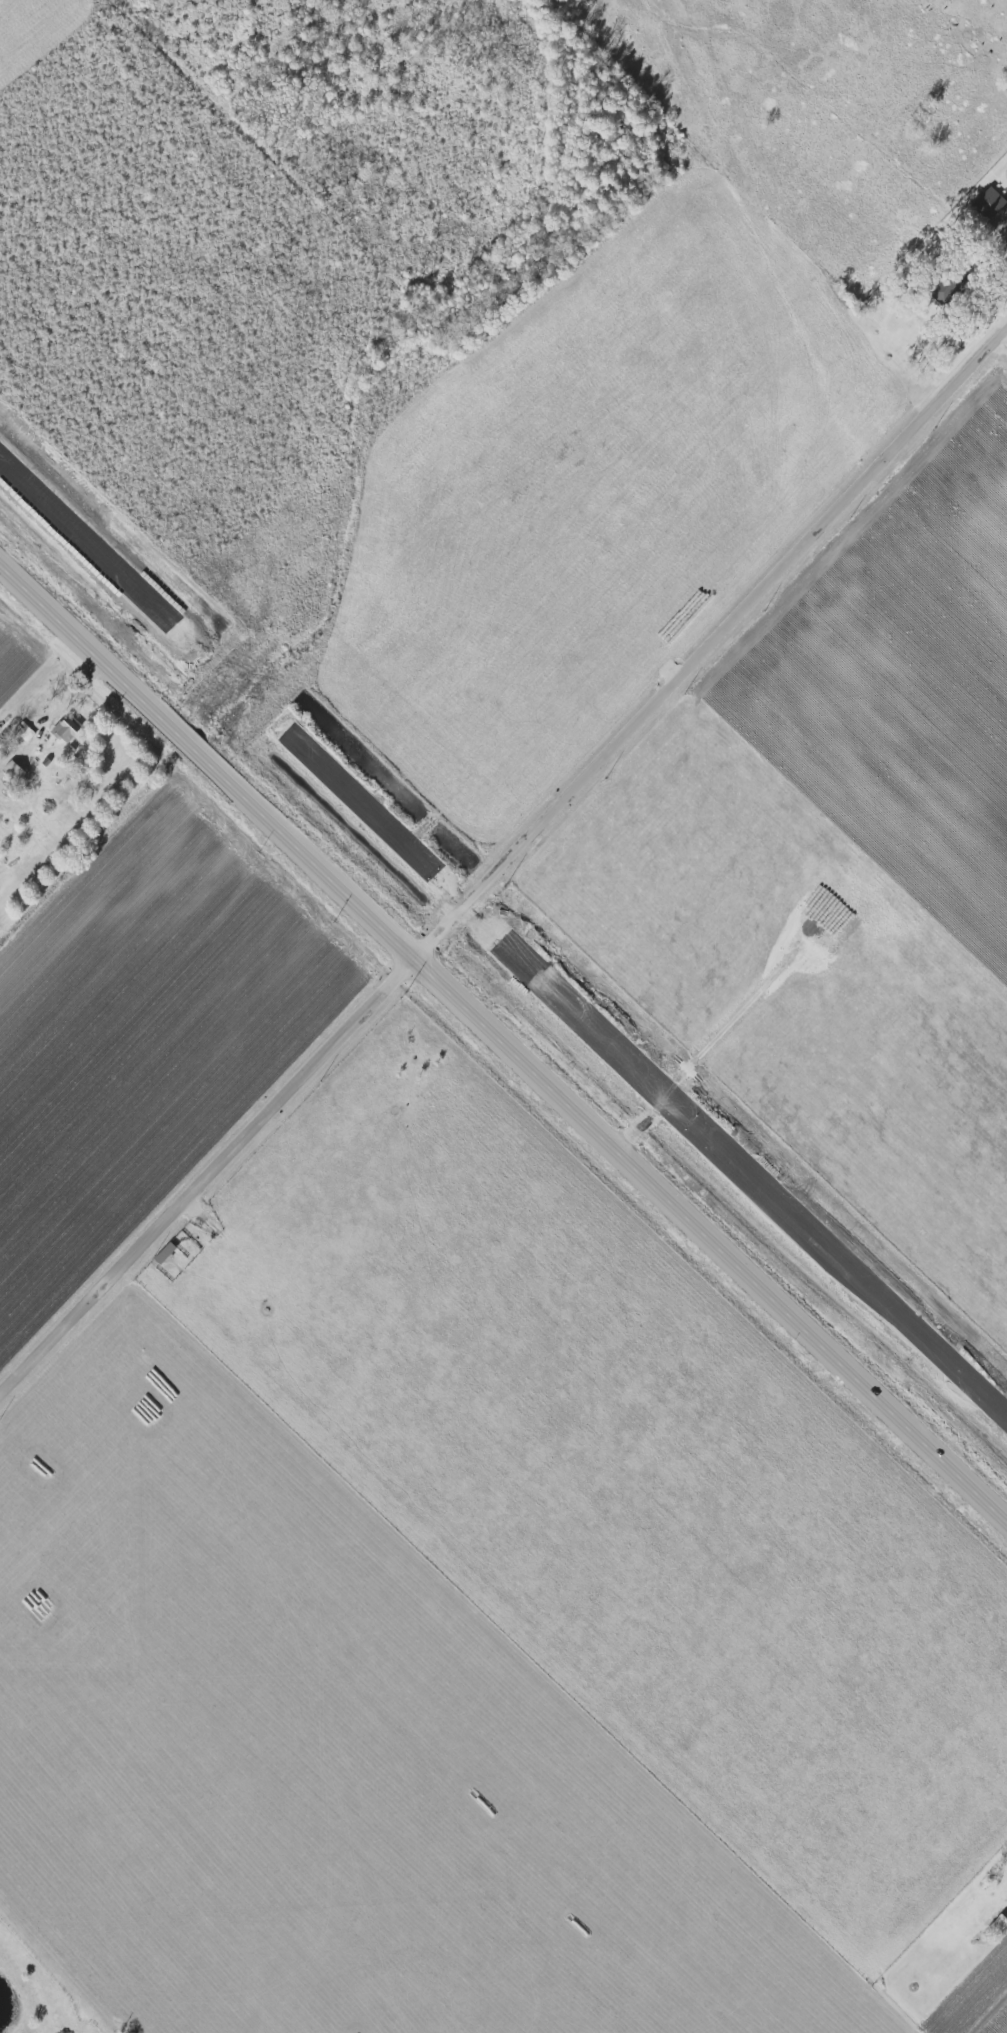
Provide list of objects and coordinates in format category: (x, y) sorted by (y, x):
building: (985, 205)
building: (68, 729)
building: (15, 770)
road: (504, 869)
road: (503, 1045)

